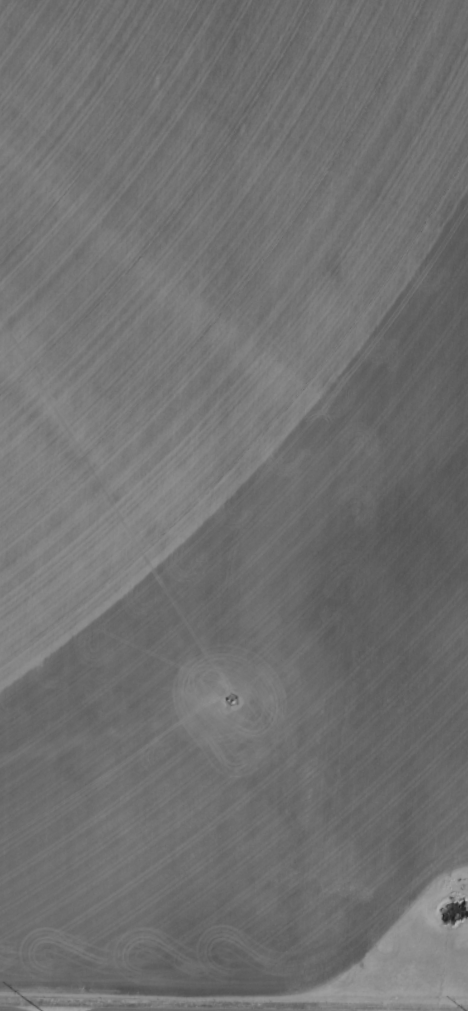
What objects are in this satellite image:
road: (144, 1006)

